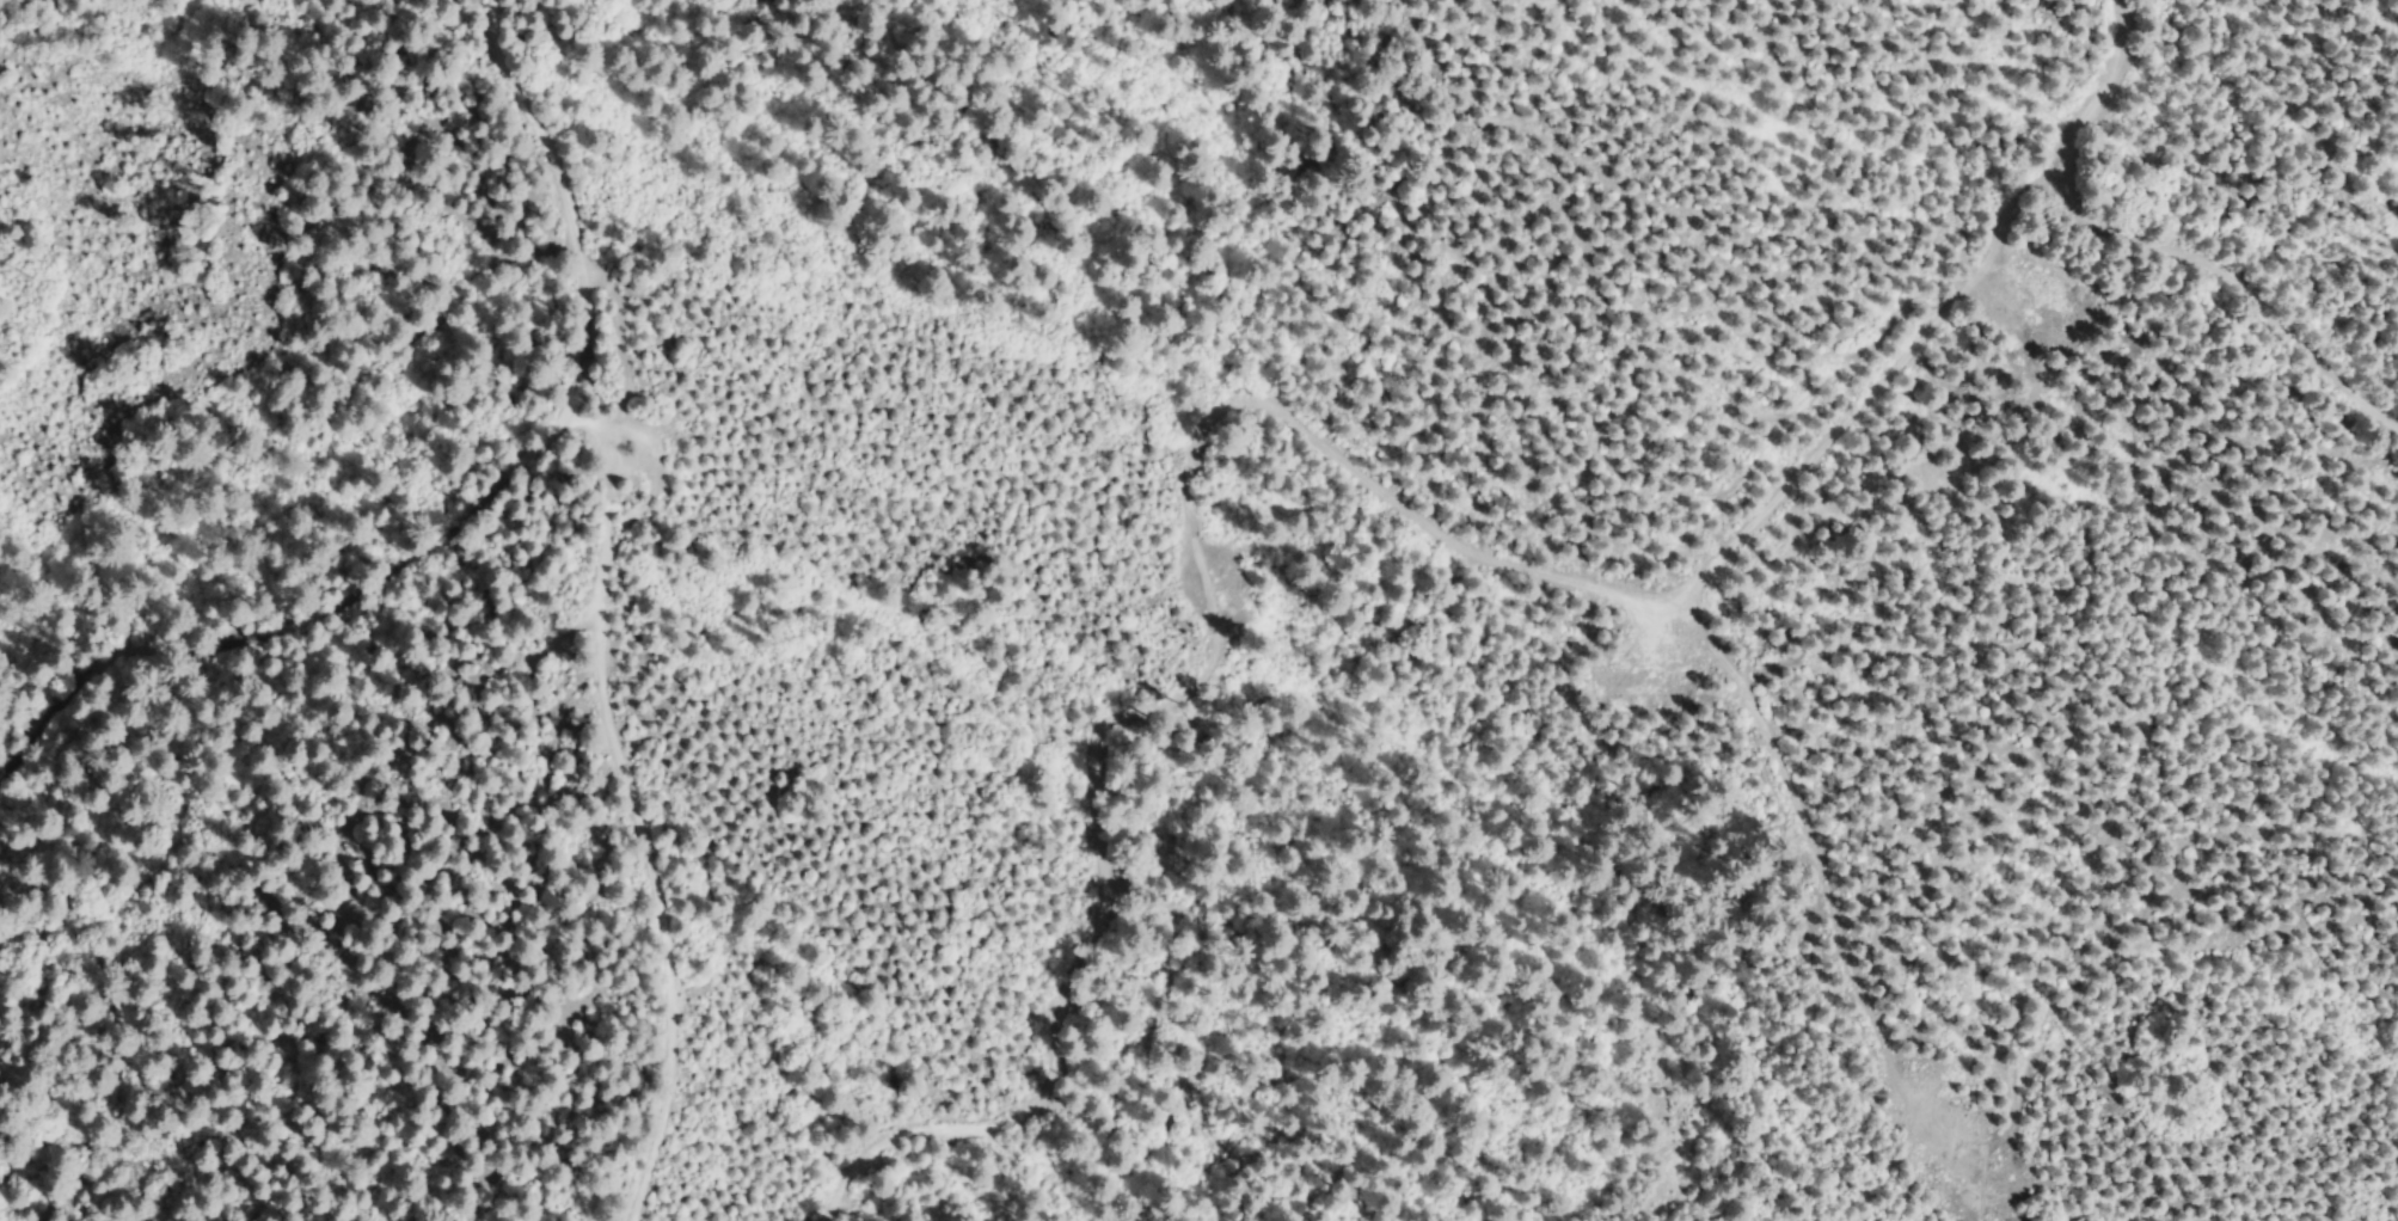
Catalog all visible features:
road: (2149, 241)
road: (1868, 392)
road: (476, 510)
road: (1207, 669)
road: (617, 742)
road: (1815, 873)

